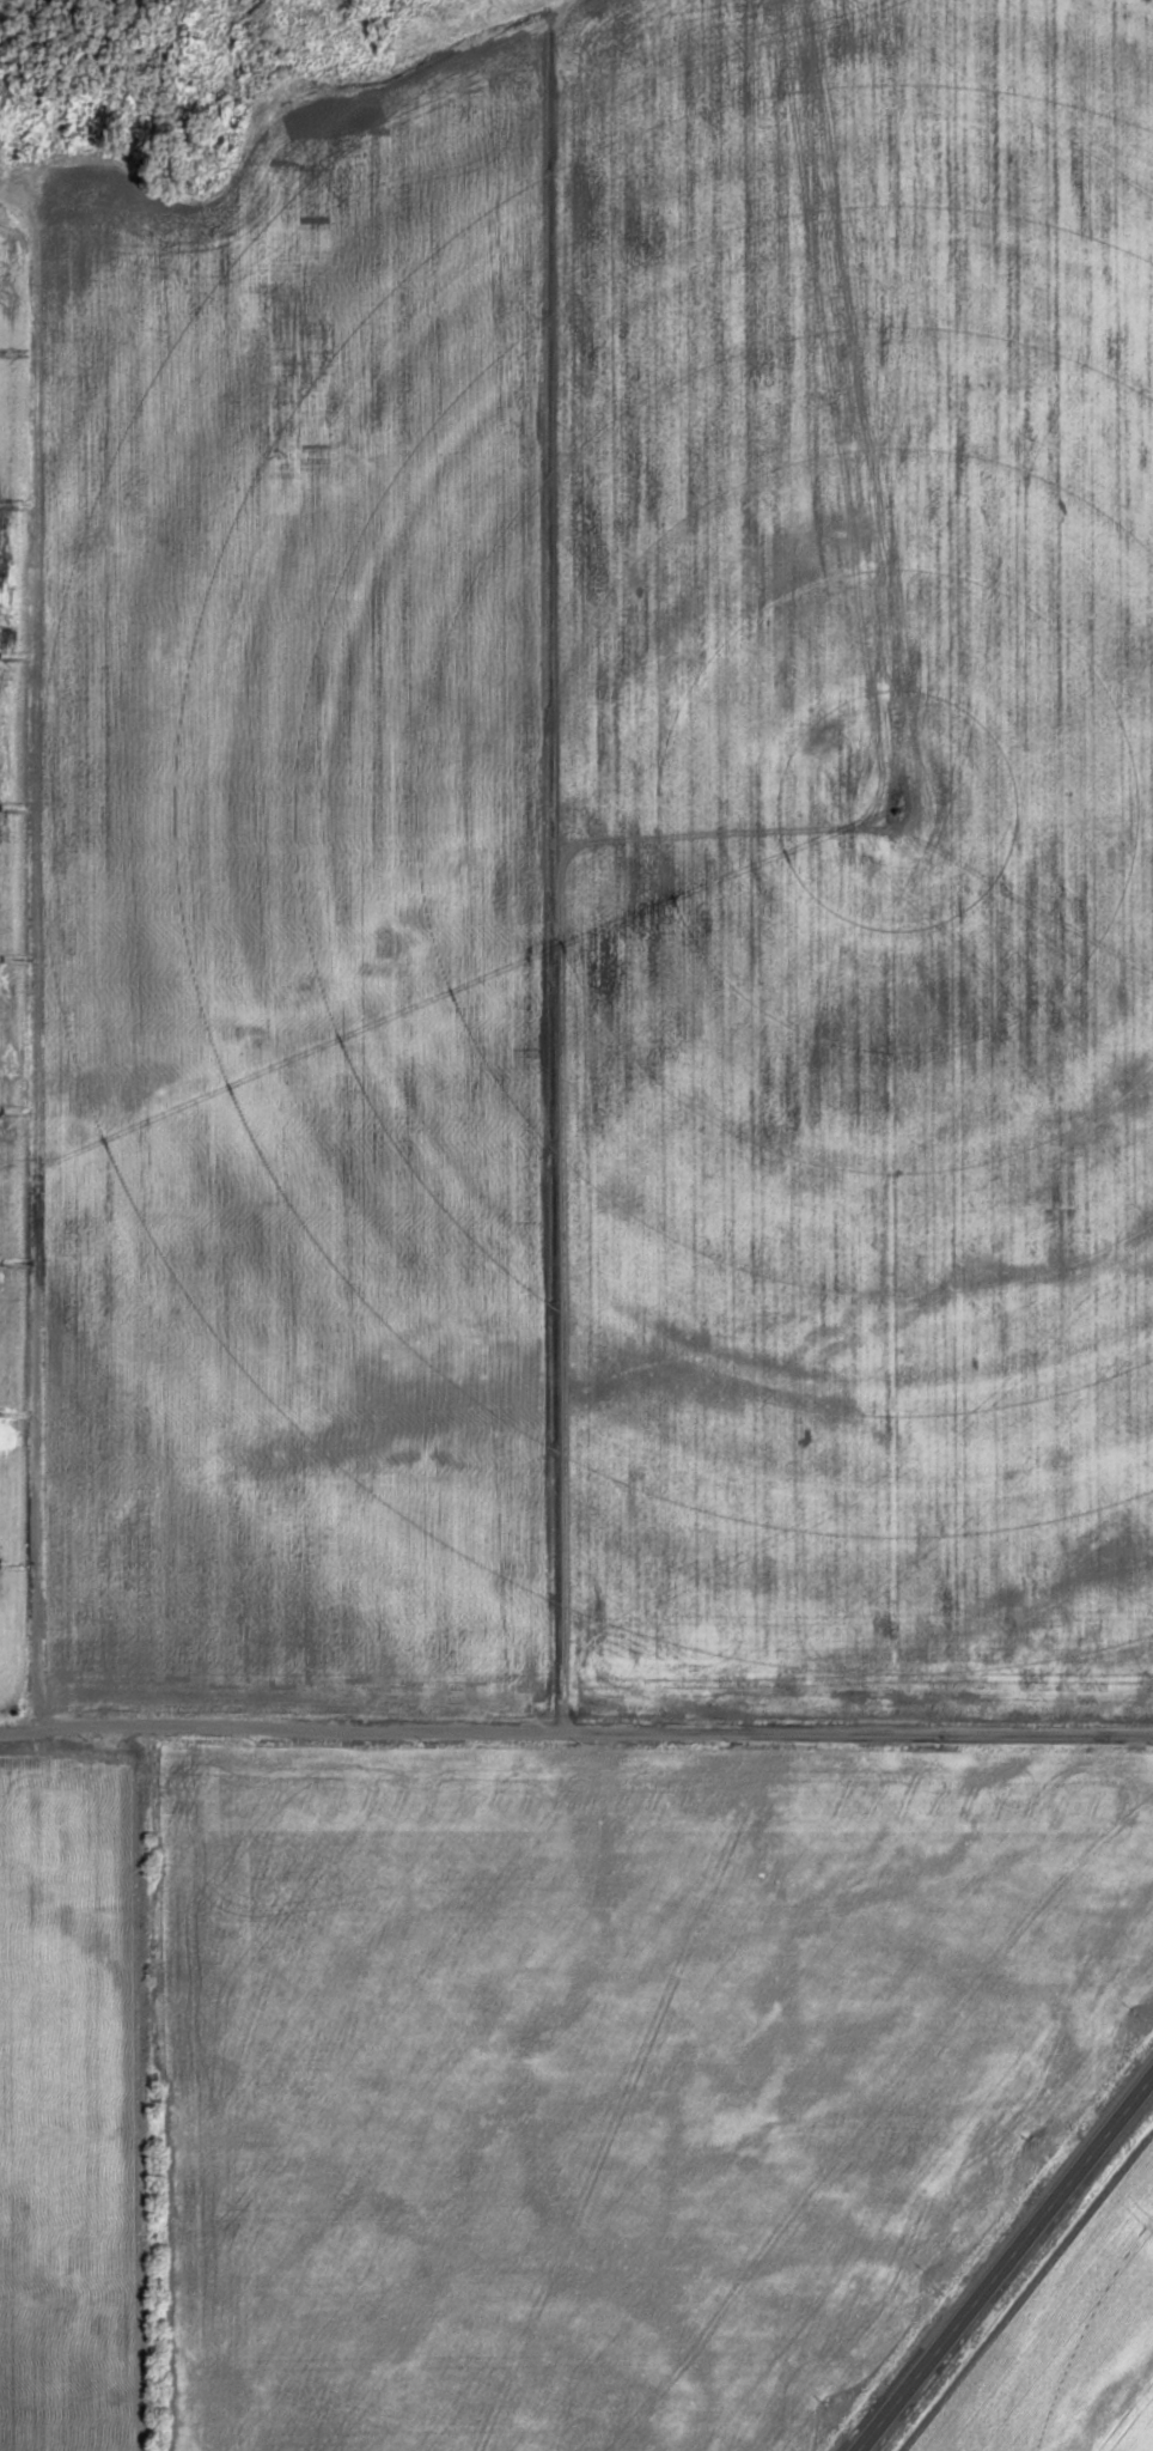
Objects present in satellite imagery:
road: (1006, 2264)

